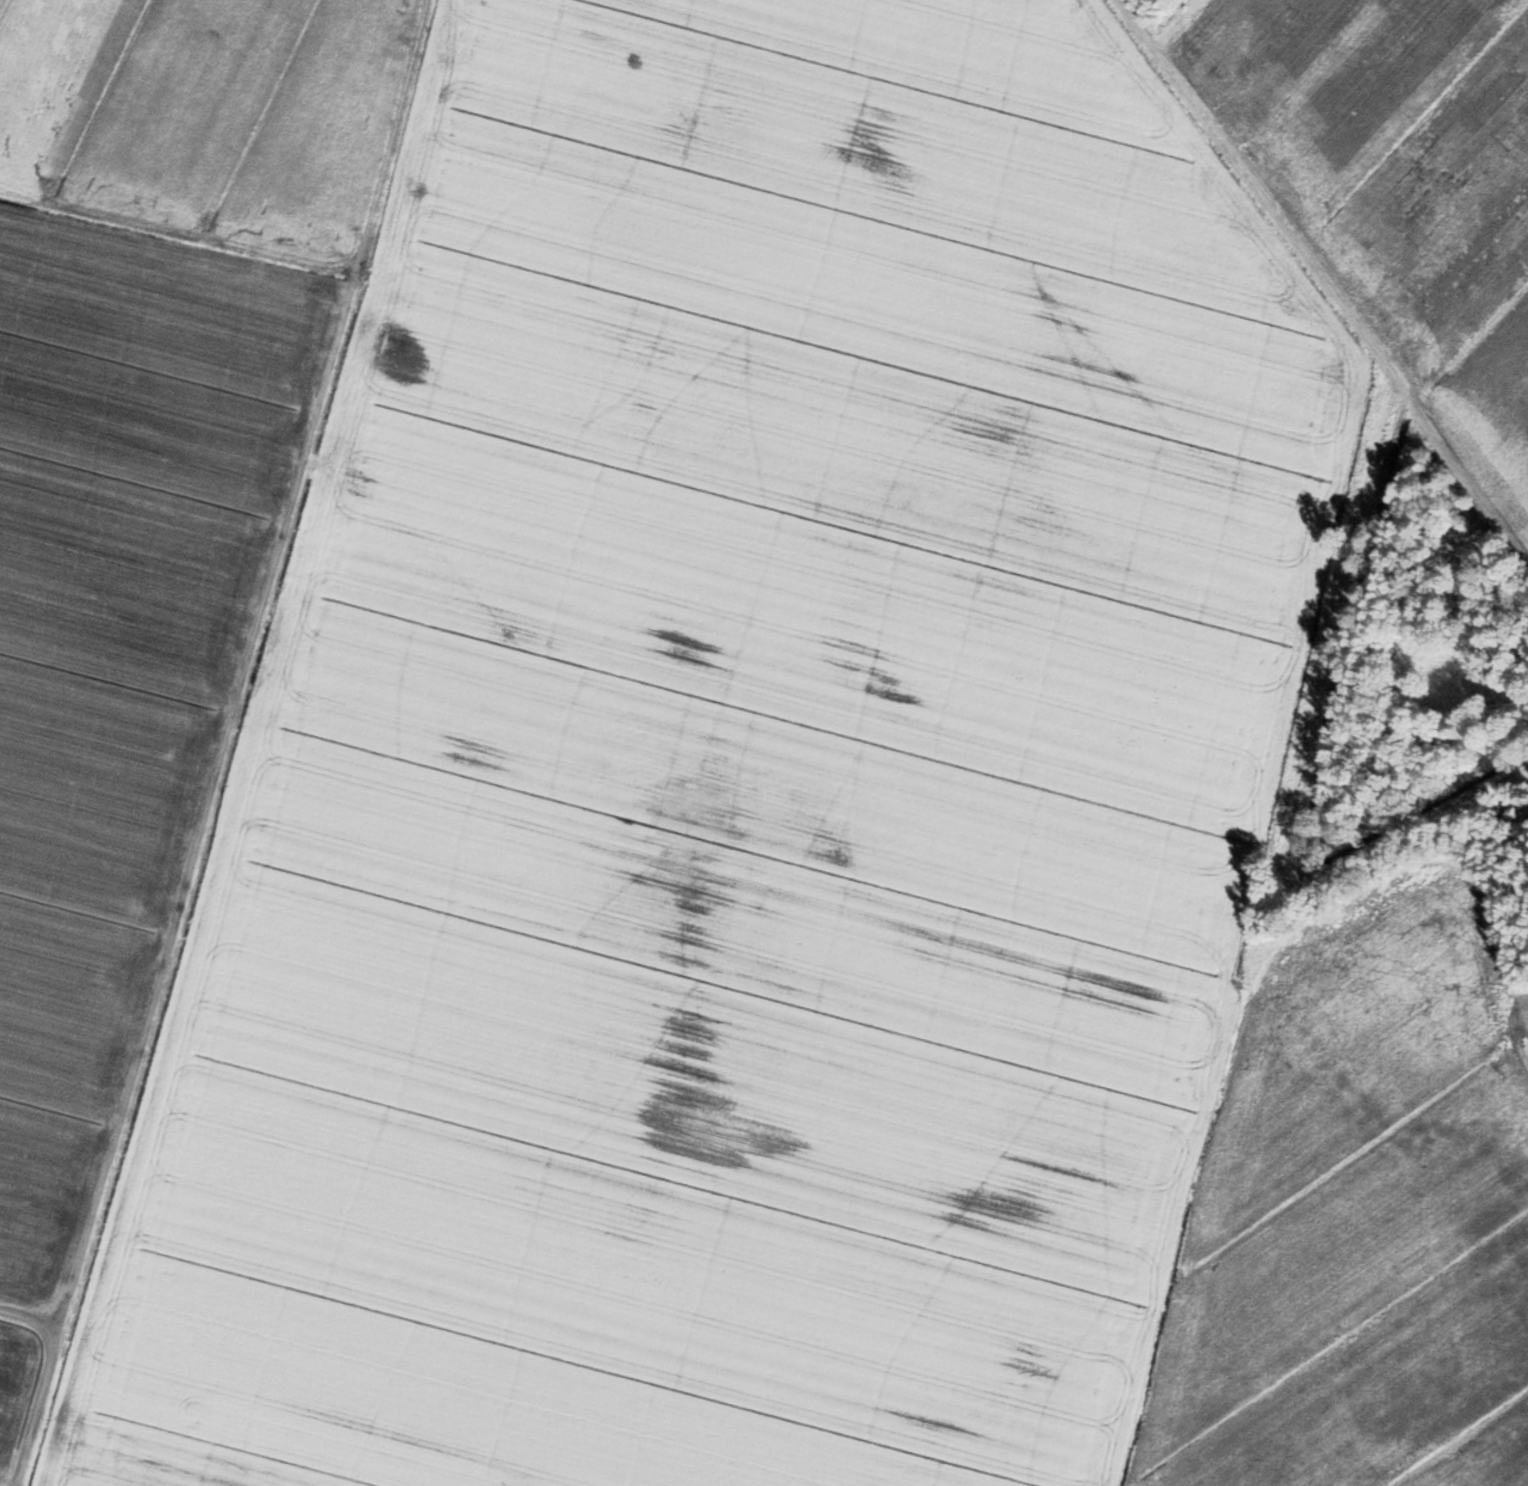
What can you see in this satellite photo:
road: (1300, 249)
road: (1506, 528)
road: (44, 1380)

